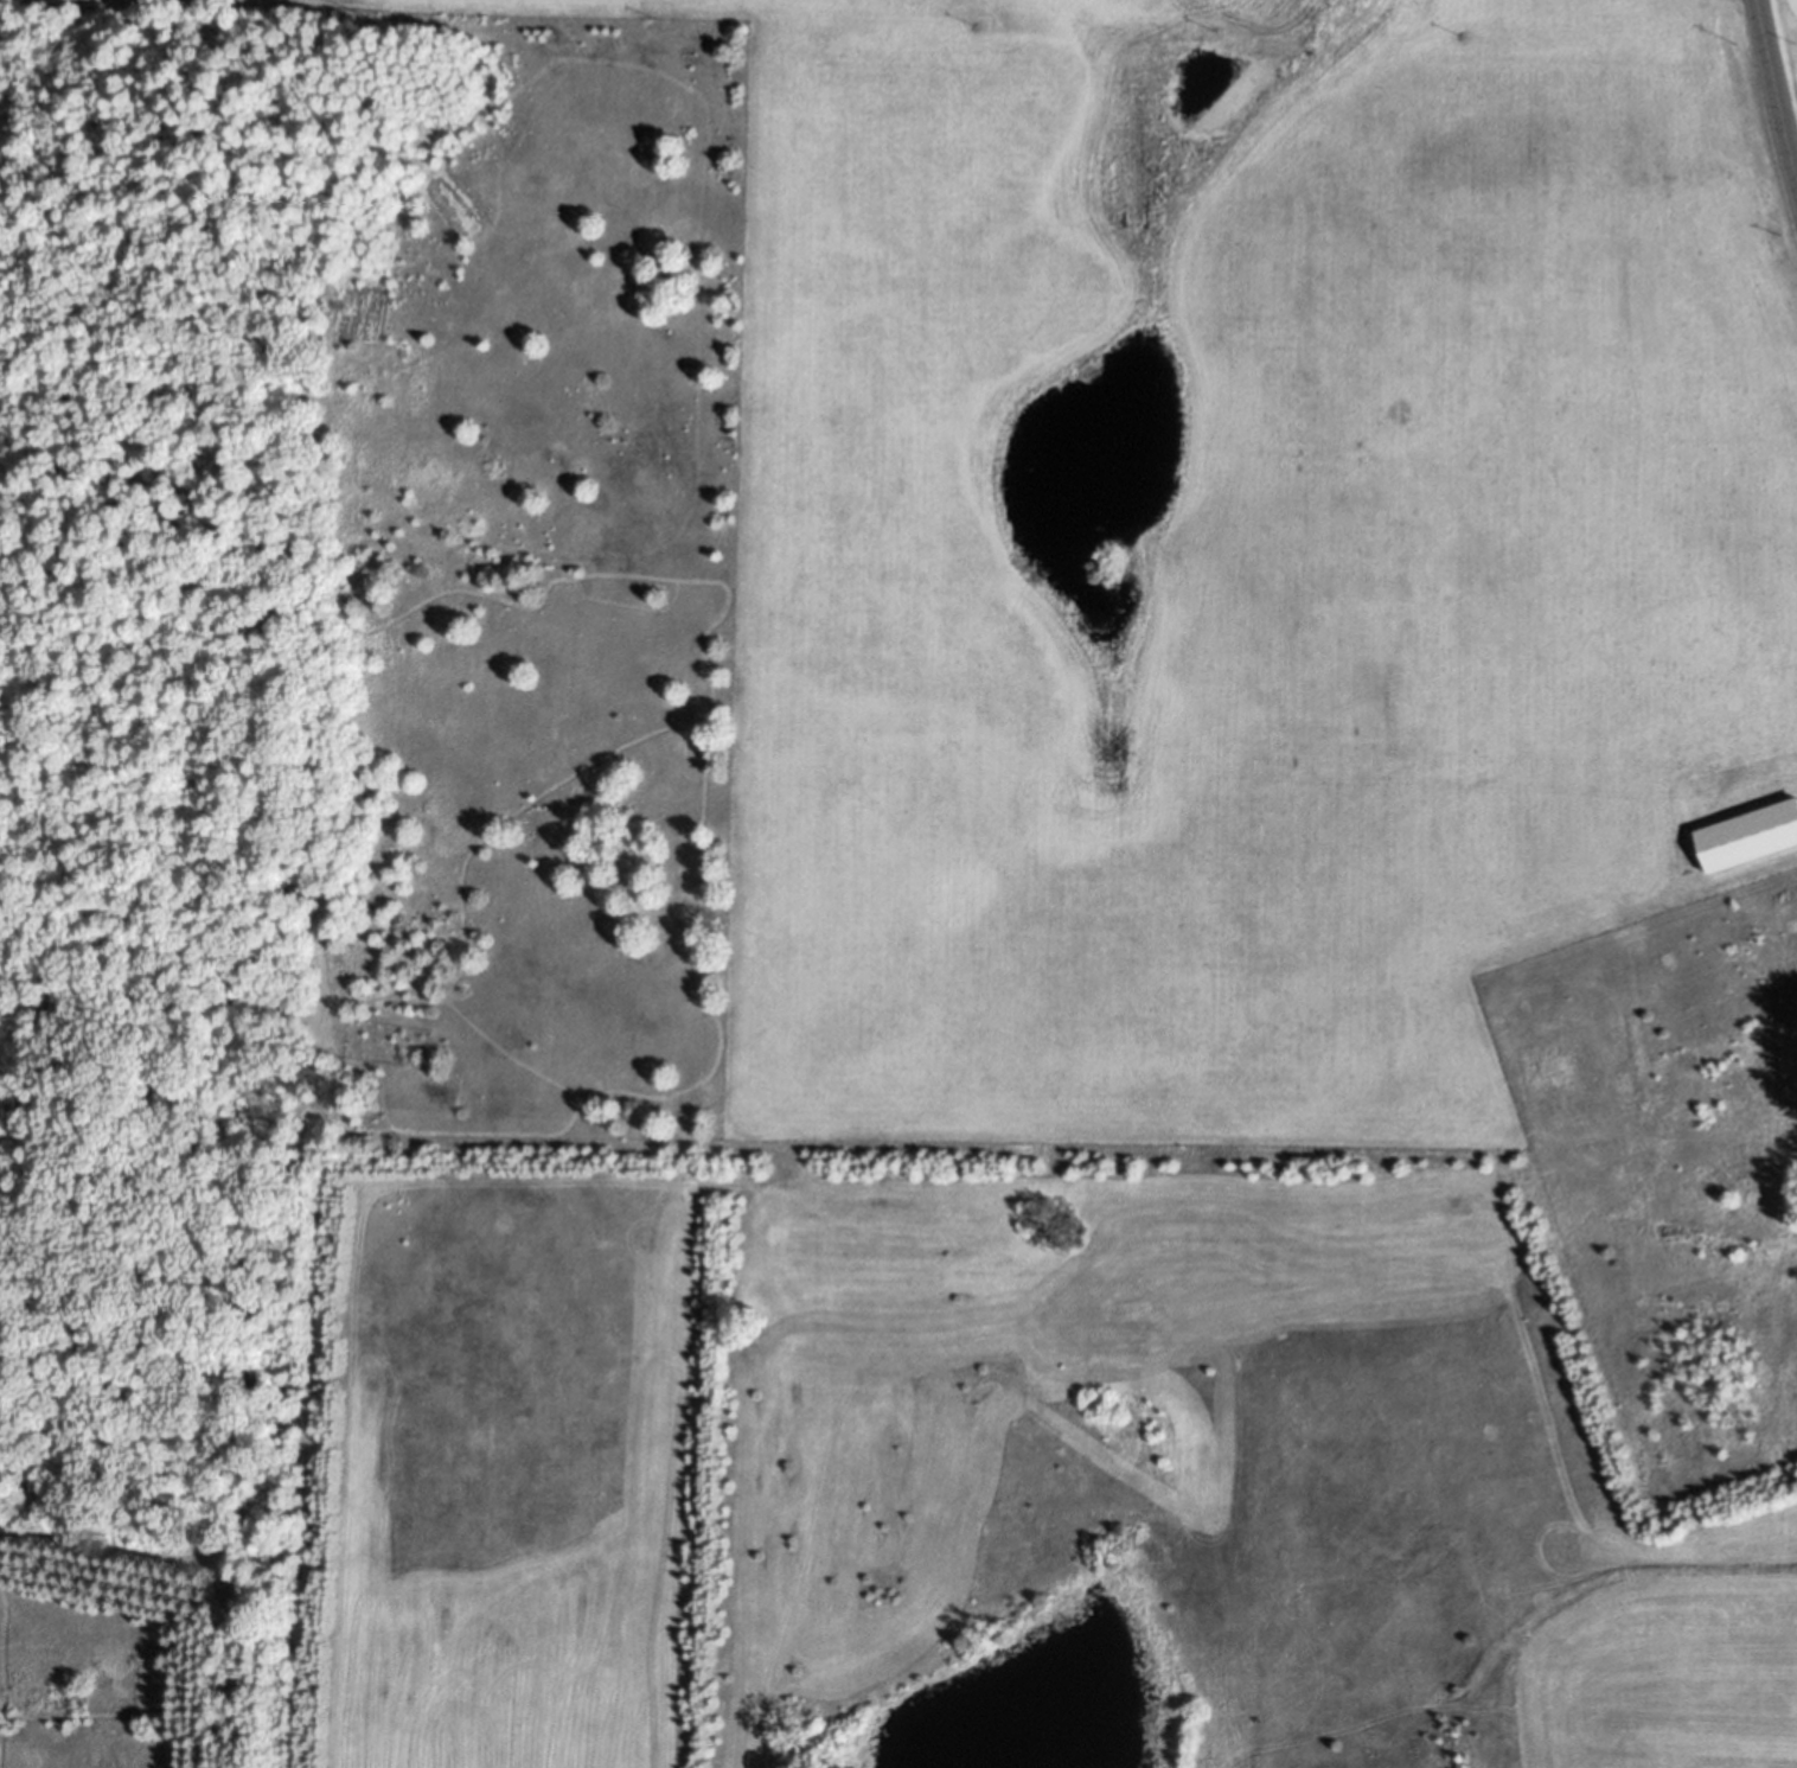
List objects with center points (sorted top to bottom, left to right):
road: (1770, 102)
building: (1751, 845)

